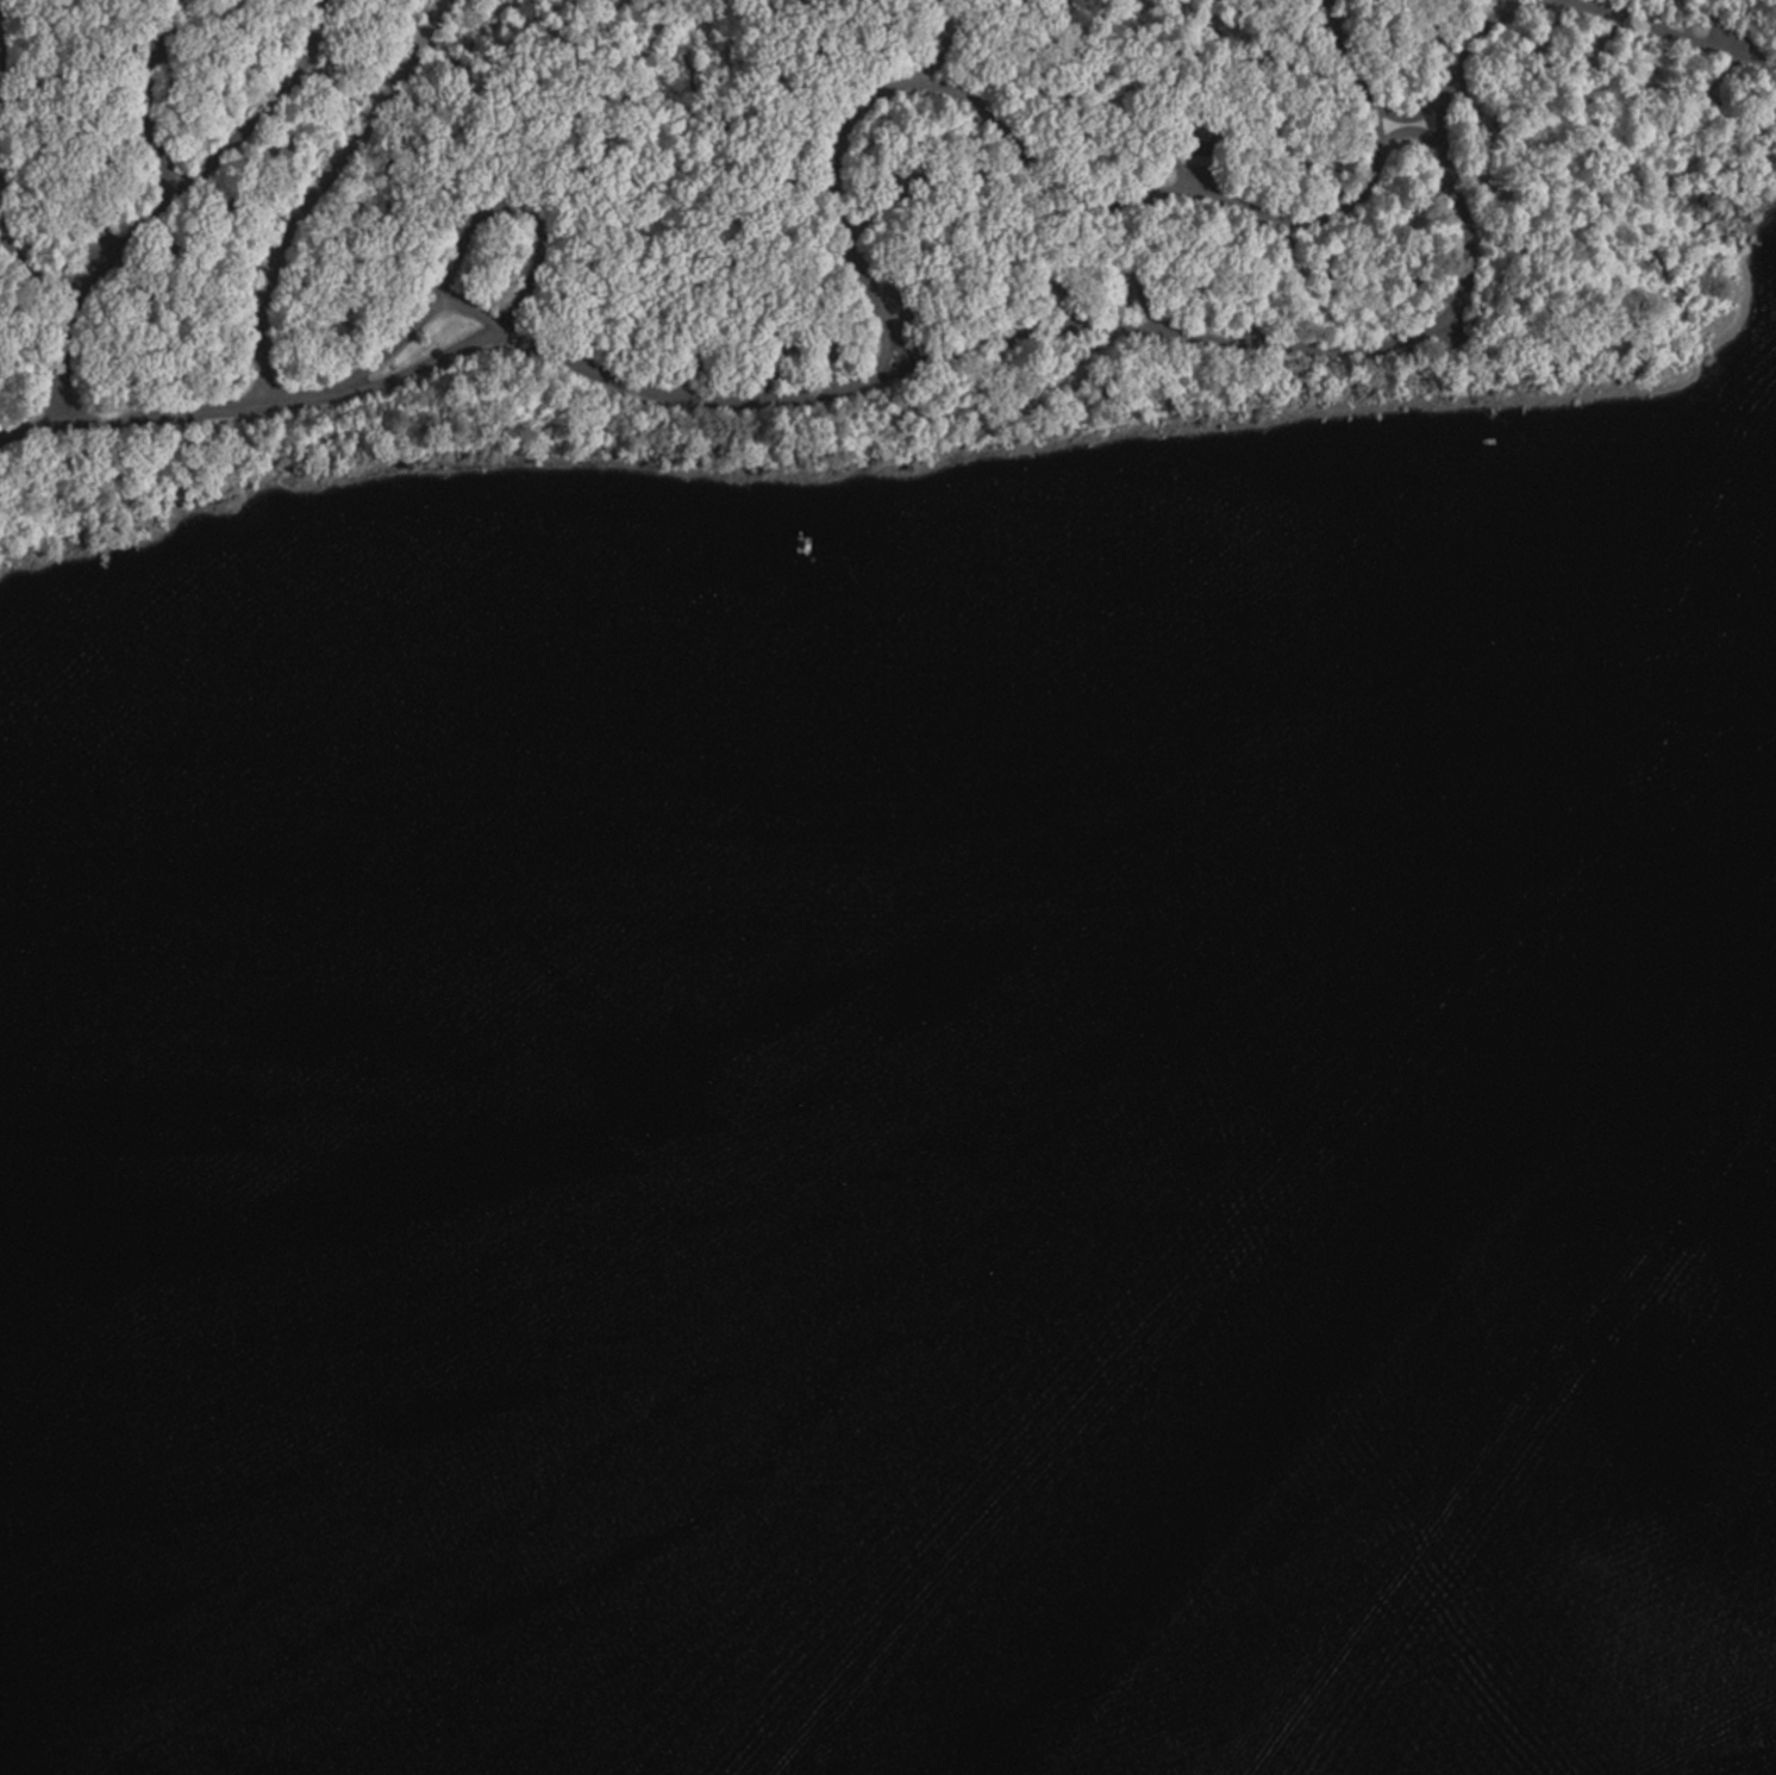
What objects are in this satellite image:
road: (1408, 132)
building: (1200, 138)
road: (311, 188)
road: (1058, 192)
road: (520, 218)
road: (110, 255)
road: (419, 324)
road: (1017, 335)
road: (902, 344)
road: (65, 354)

